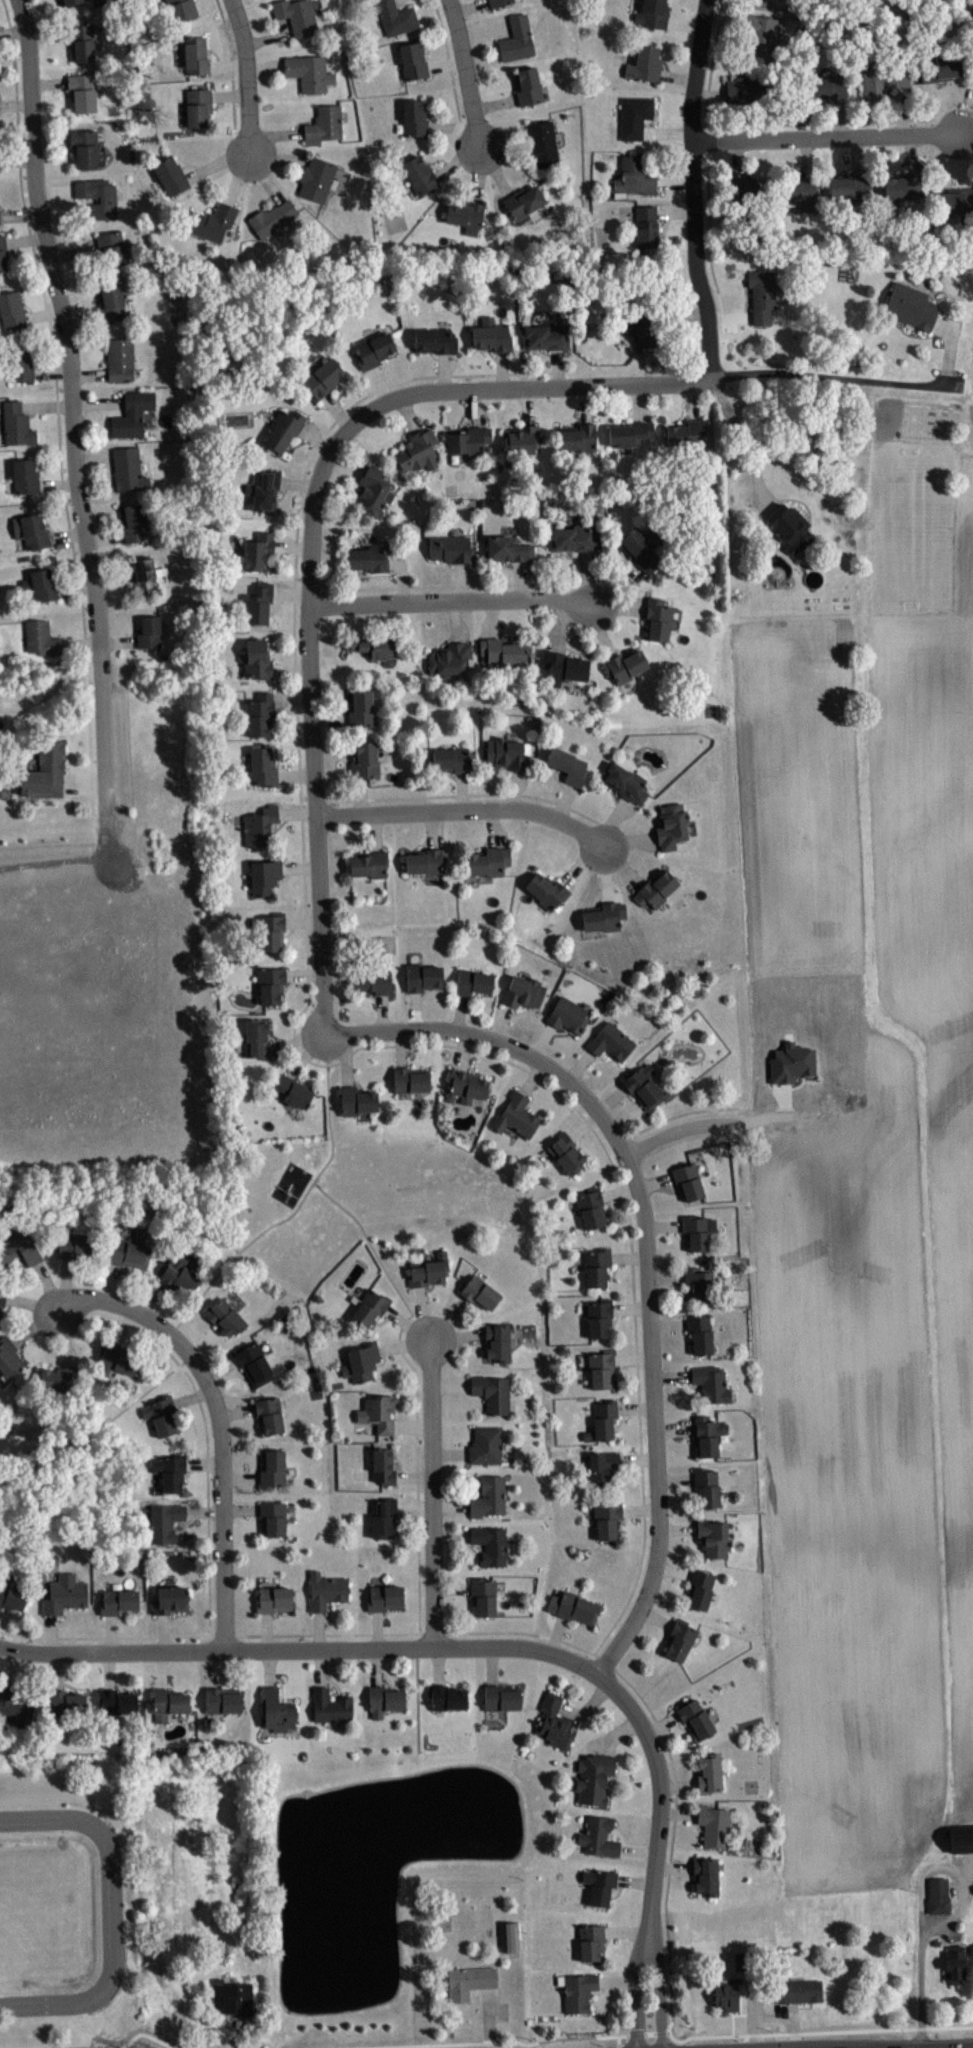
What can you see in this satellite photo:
building: (70, 2)
building: (498, 3)
building: (181, 11)
building: (653, 14)
building: (296, 17)
building: (395, 19)
building: (761, 36)
building: (517, 41)
building: (80, 42)
building: (0, 46)
building: (194, 57)
building: (413, 63)
building: (644, 66)
building: (939, 70)
building: (307, 74)
road: (246, 76)
road: (468, 77)
road: (232, 78)
road: (452, 80)
building: (883, 82)
building: (527, 88)
building: (829, 88)
building: (82, 91)
building: (750, 92)
building: (196, 108)
building: (635, 117)
building: (414, 121)
road: (834, 121)
building: (324, 127)
road: (826, 136)
building: (543, 145)
building: (84, 146)
building: (0, 166)
road: (708, 168)
building: (419, 176)
building: (170, 178)
building: (634, 178)
building: (316, 181)
building: (850, 188)
building: (903, 188)
road: (694, 190)
building: (98, 195)
building: (800, 195)
building: (744, 198)
building: (956, 203)
building: (523, 204)
building: (466, 217)
building: (1, 220)
building: (271, 220)
building: (212, 223)
building: (647, 227)
building: (112, 249)
building: (2, 253)
building: (762, 295)
building: (111, 304)
building: (910, 305)
building: (11, 312)
road: (51, 328)
building: (646, 330)
building: (491, 334)
building: (545, 334)
building: (434, 340)
road: (950, 345)
building: (373, 349)
building: (120, 360)
building: (20, 365)
road: (557, 366)
road: (836, 376)
building: (322, 377)
road: (524, 387)
road: (639, 401)
road: (586, 403)
road: (526, 404)
building: (132, 414)
building: (17, 423)
road: (72, 425)
building: (284, 428)
building: (629, 431)
building: (686, 432)
building: (579, 436)
building: (469, 441)
building: (519, 441)
road: (746, 442)
building: (418, 451)
building: (128, 469)
building: (24, 475)
building: (264, 488)
building: (372, 493)
building: (135, 522)
building: (789, 523)
building: (33, 531)
building: (575, 538)
building: (257, 550)
building: (450, 550)
building: (508, 550)
building: (640, 550)
building: (368, 559)
building: (147, 576)
road: (443, 584)
building: (40, 585)
road: (451, 600)
building: (259, 603)
building: (657, 620)
building: (149, 631)
road: (294, 631)
building: (41, 637)
building: (371, 646)
building: (503, 653)
building: (448, 658)
building: (257, 659)
building: (625, 665)
building: (563, 669)
road: (51, 684)
building: (362, 709)
building: (260, 713)
road: (312, 726)
building: (505, 753)
building: (365, 759)
building: (451, 759)
building: (567, 764)
building: (262, 766)
building: (45, 771)
building: (627, 782)
road: (464, 793)
road: (465, 808)
building: (260, 824)
building: (670, 825)
building: (424, 861)
building: (488, 861)
road: (54, 863)
building: (369, 863)
building: (264, 875)
building: (546, 889)
building: (656, 891)
building: (602, 916)
building: (270, 930)
building: (422, 976)
building: (473, 981)
building: (373, 982)
building: (270, 983)
building: (524, 992)
building: (567, 1015)
building: (256, 1038)
building: (610, 1042)
building: (410, 1079)
building: (467, 1085)
building: (643, 1086)
building: (294, 1090)
building: (356, 1099)
road: (677, 1114)
building: (516, 1115)
road: (681, 1129)
building: (565, 1151)
building: (688, 1181)
park: (362, 1200)
crop: (861, 1200)
road: (297, 1205)
building: (591, 1207)
building: (695, 1232)
road: (632, 1243)
road: (646, 1244)
building: (75, 1245)
building: (18, 1249)
building: (127, 1253)
road: (377, 1255)
building: (597, 1266)
building: (428, 1270)
building: (178, 1278)
building: (698, 1283)
building: (479, 1291)
building: (2, 1298)
building: (370, 1306)
building: (599, 1316)
building: (224, 1318)
building: (700, 1334)
building: (498, 1341)
building: (8, 1359)
building: (360, 1361)
building: (117, 1362)
building: (254, 1362)
building: (601, 1368)
building: (55, 1382)
building: (710, 1383)
building: (492, 1392)
building: (378, 1412)
building: (269, 1413)
building: (160, 1416)
road: (219, 1420)
building: (602, 1420)
road: (102, 1425)
road: (206, 1431)
building: (707, 1434)
building: (485, 1444)
building: (383, 1466)
road: (417, 1468)
building: (602, 1468)
building: (272, 1470)
building: (170, 1473)
building: (706, 1486)
road: (431, 1493)
building: (489, 1496)
building: (383, 1516)
building: (273, 1517)
building: (606, 1518)
building: (164, 1521)
building: (713, 1537)
building: (490, 1543)
building: (699, 1588)
building: (326, 1589)
building: (63, 1593)
building: (483, 1594)
building: (11, 1597)
building: (383, 1597)
building: (170, 1598)
building: (275, 1598)
building: (119, 1600)
building: (573, 1607)
road: (502, 1631)
road: (1, 1633)
road: (0, 1636)
building: (679, 1638)
road: (301, 1648)
building: (447, 1696)
building: (500, 1697)
building: (223, 1700)
building: (384, 1700)
building: (116, 1701)
building: (67, 1703)
building: (167, 1703)
building: (331, 1705)
building: (276, 1710)
building: (15, 1711)
building: (694, 1717)
building: (552, 1720)
building: (709, 1773)
building: (594, 1778)
road: (661, 1788)
building: (713, 1825)
building: (597, 1837)
building: (961, 1837)
road: (951, 1867)
building: (706, 1875)
building: (598, 1885)
building: (938, 1896)
road: (111, 1910)
building: (509, 1936)
building: (589, 1942)
building: (936, 1942)
building: (741, 1960)
building: (953, 1963)
building: (470, 1980)
road: (635, 1984)
road: (659, 1985)
building: (799, 1990)
building: (579, 1991)
building: (725, 1995)
building: (232, 1996)
road: (921, 1996)
road: (754, 2009)
road: (488, 2018)
road: (790, 2024)
street lamp: (673, 2027)
road: (817, 2030)
road: (664, 2031)
road: (648, 2032)
road: (230, 2033)
road: (632, 2033)
road: (580, 2036)
road: (618, 2038)
road: (107, 2044)
road: (437, 2044)
road: (618, 2045)
road: (959, 2047)

